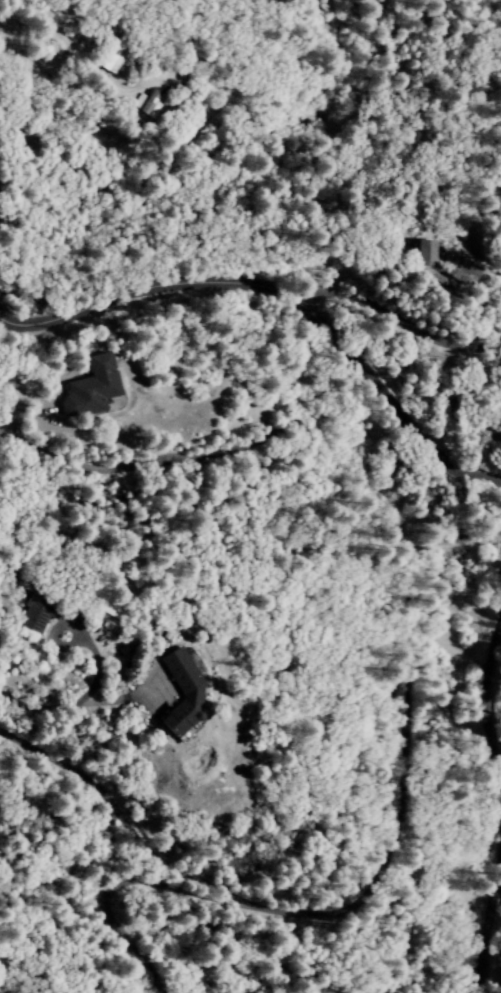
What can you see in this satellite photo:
building: (114, 57)
building: (148, 104)
building: (425, 250)
building: (459, 268)
road: (209, 287)
road: (442, 383)
building: (90, 389)
road: (430, 453)
building: (35, 614)
road: (485, 664)
building: (184, 697)
road: (491, 741)
road: (499, 786)
road: (118, 827)
road: (374, 864)
road: (489, 920)

